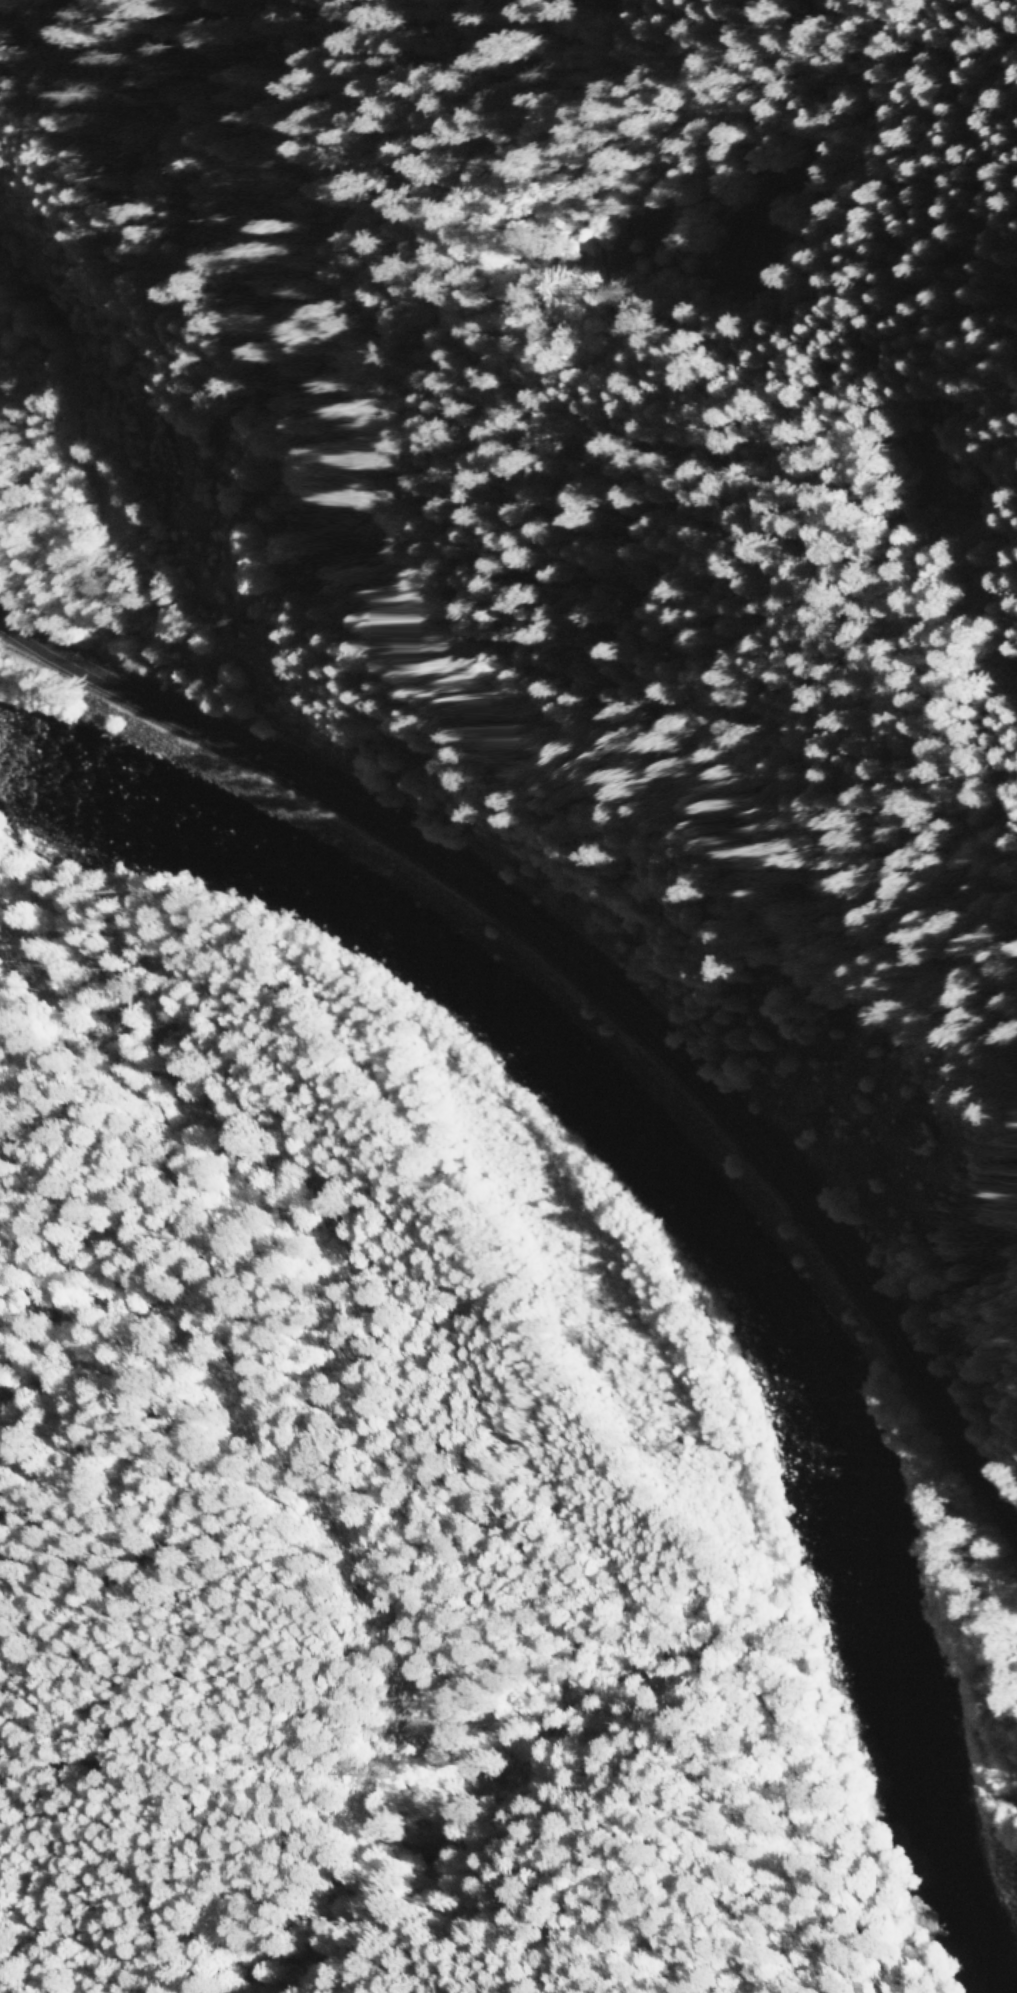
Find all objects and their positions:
road: (648, 8)
road: (823, 16)
road: (492, 91)
road: (276, 312)
road: (592, 969)
river: (702, 1215)
road: (564, 1464)

